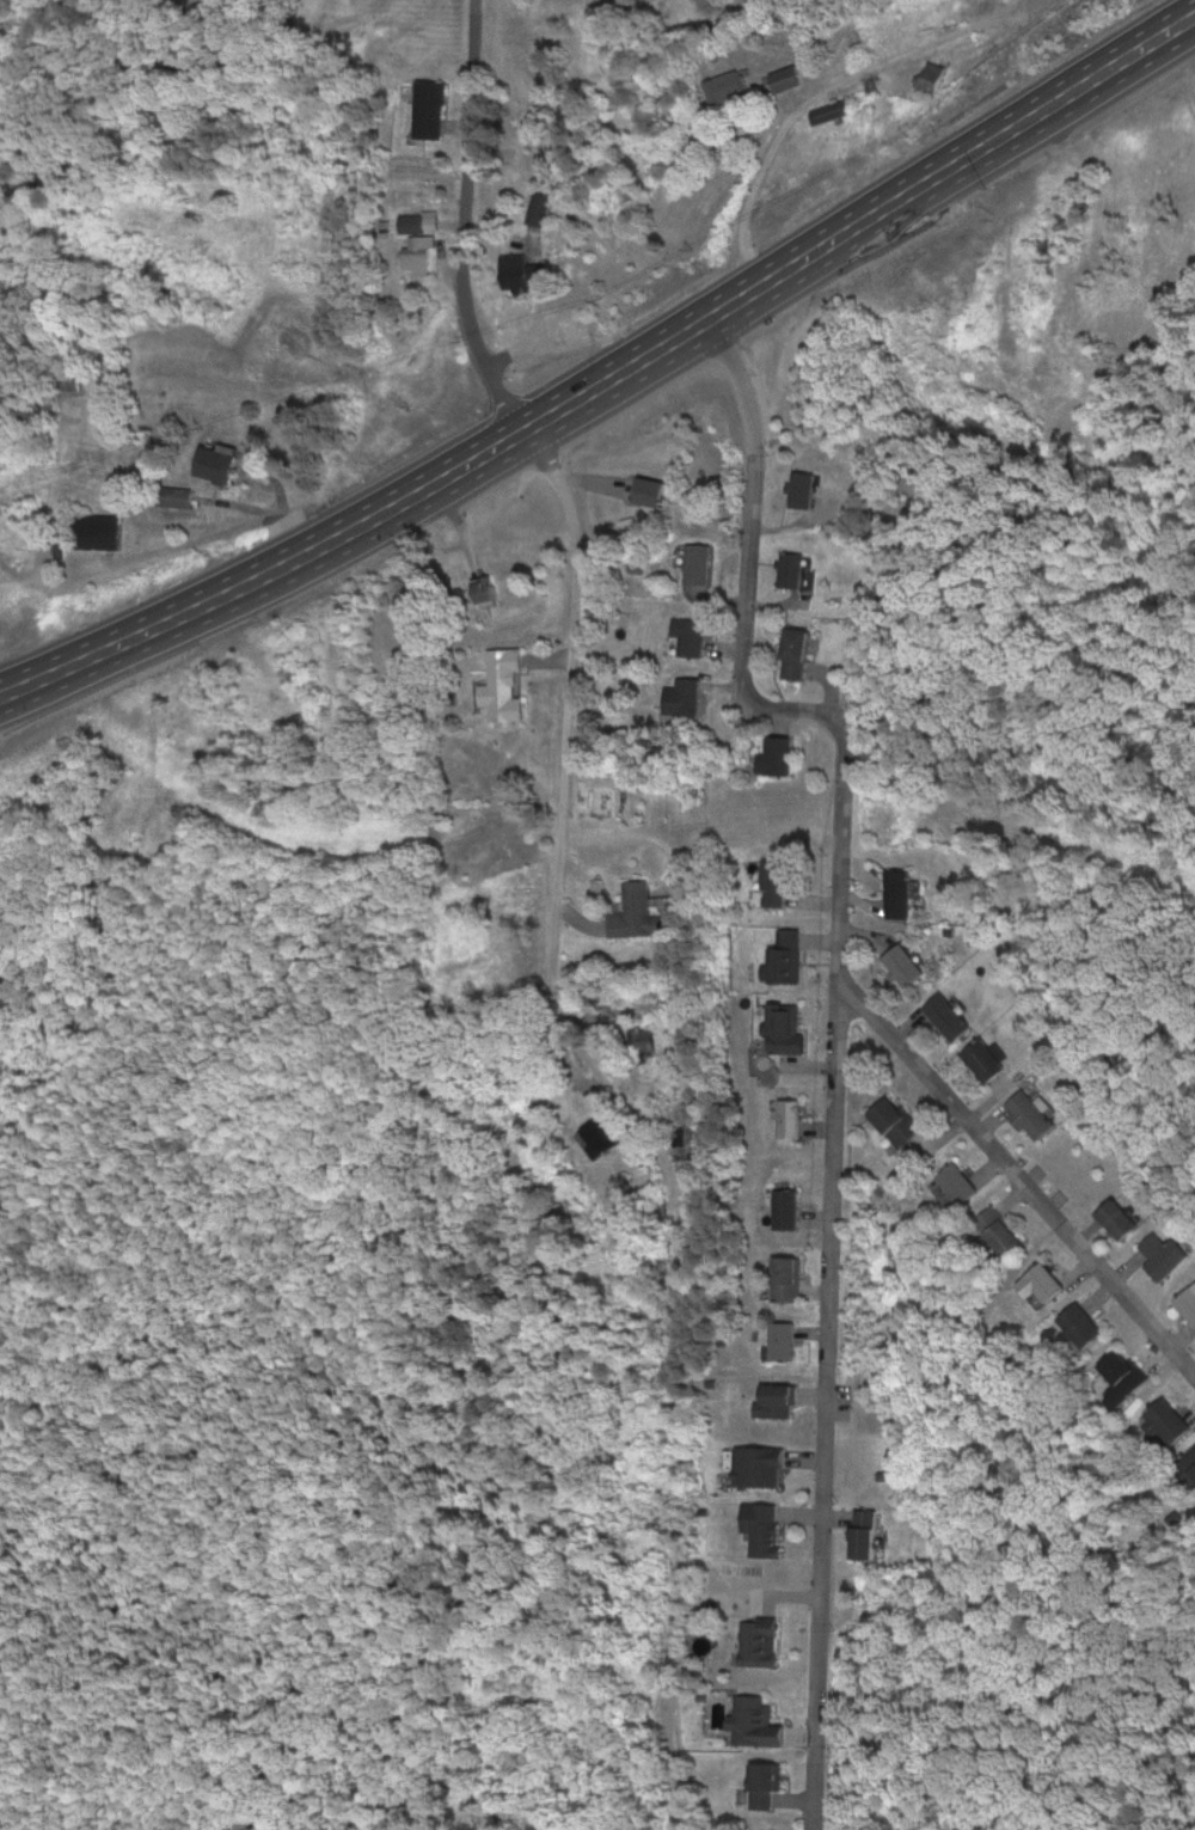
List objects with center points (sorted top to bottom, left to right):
building: (931, 74)
building: (784, 76)
building: (725, 86)
road: (808, 98)
building: (428, 109)
building: (829, 110)
building: (537, 207)
road: (465, 216)
building: (411, 222)
building: (417, 253)
building: (516, 270)
road: (611, 362)
building: (66, 381)
building: (215, 463)
building: (801, 488)
building: (94, 531)
building: (695, 562)
building: (789, 568)
building: (483, 589)
building: (690, 637)
building: (793, 653)
building: (502, 685)
building: (680, 697)
building: (773, 755)
road: (838, 851)
building: (771, 881)
building: (896, 893)
building: (635, 913)
building: (784, 956)
building: (902, 965)
building: (945, 1017)
building: (782, 1028)
building: (641, 1043)
building: (982, 1059)
road: (624, 1101)
building: (1028, 1115)
building: (788, 1119)
building: (893, 1120)
building: (600, 1133)
building: (955, 1186)
building: (783, 1207)
building: (1116, 1218)
building: (1001, 1237)
building: (1162, 1255)
building: (784, 1278)
building: (1040, 1285)
building: (1188, 1303)
building: (1079, 1324)
building: (780, 1340)
building: (1122, 1376)
building: (773, 1401)
road: (823, 1402)
building: (1166, 1421)
building: (1188, 1461)
building: (755, 1467)
building: (760, 1528)
building: (863, 1535)
building: (756, 1641)
building: (752, 1720)
building: (762, 1781)

